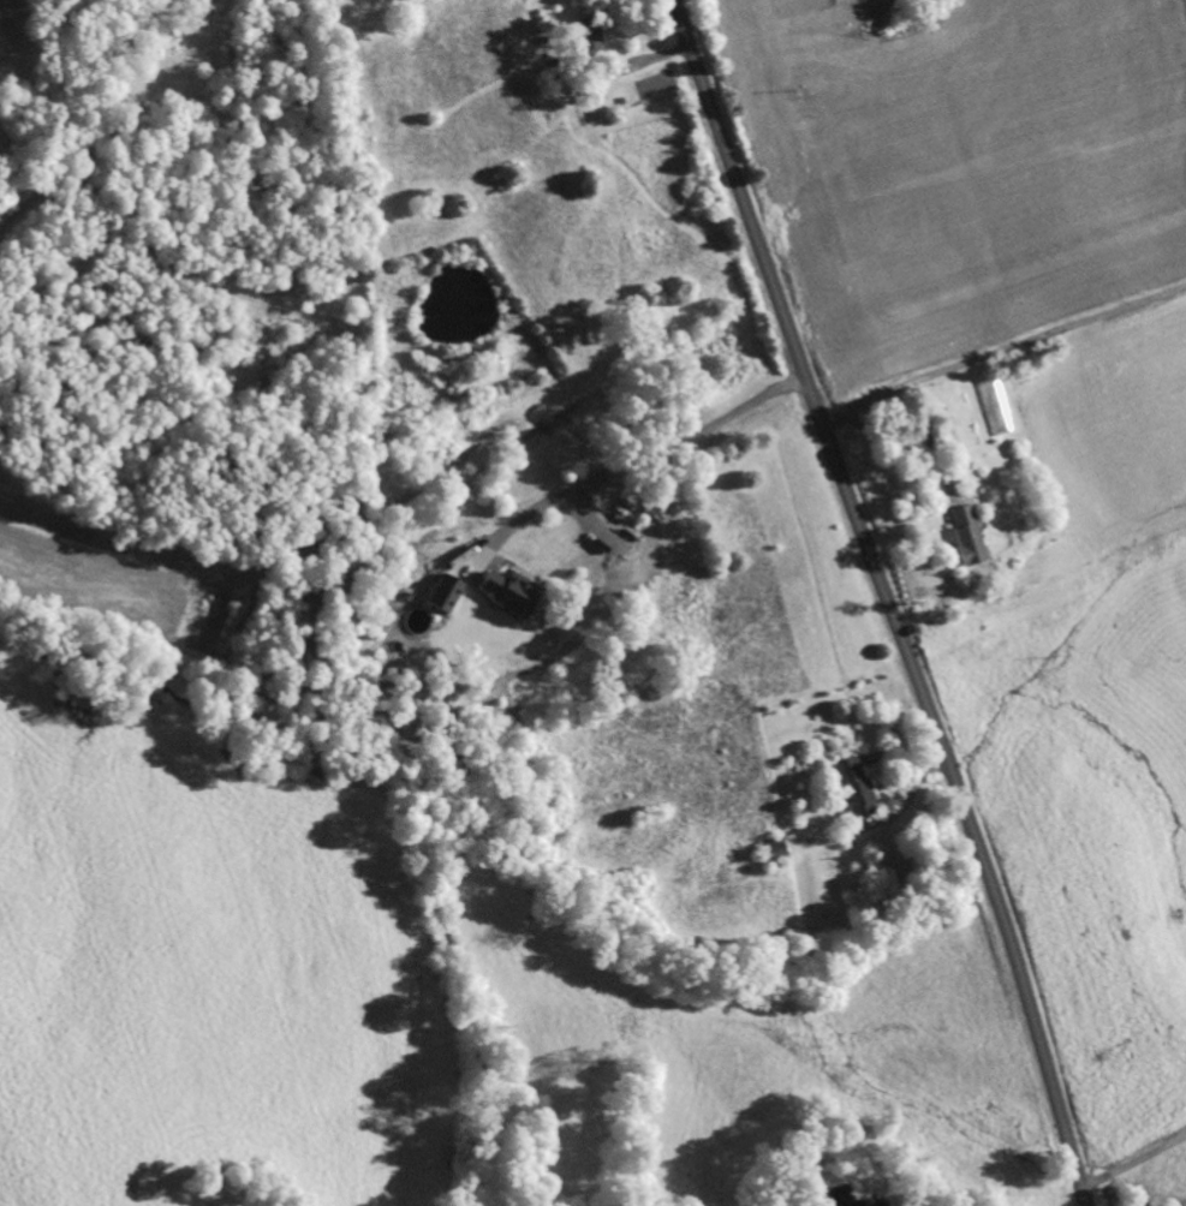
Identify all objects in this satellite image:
building: (585, 36)
building: (935, 436)
building: (959, 536)
building: (502, 592)
road: (886, 599)
building: (846, 789)
building: (767, 853)

